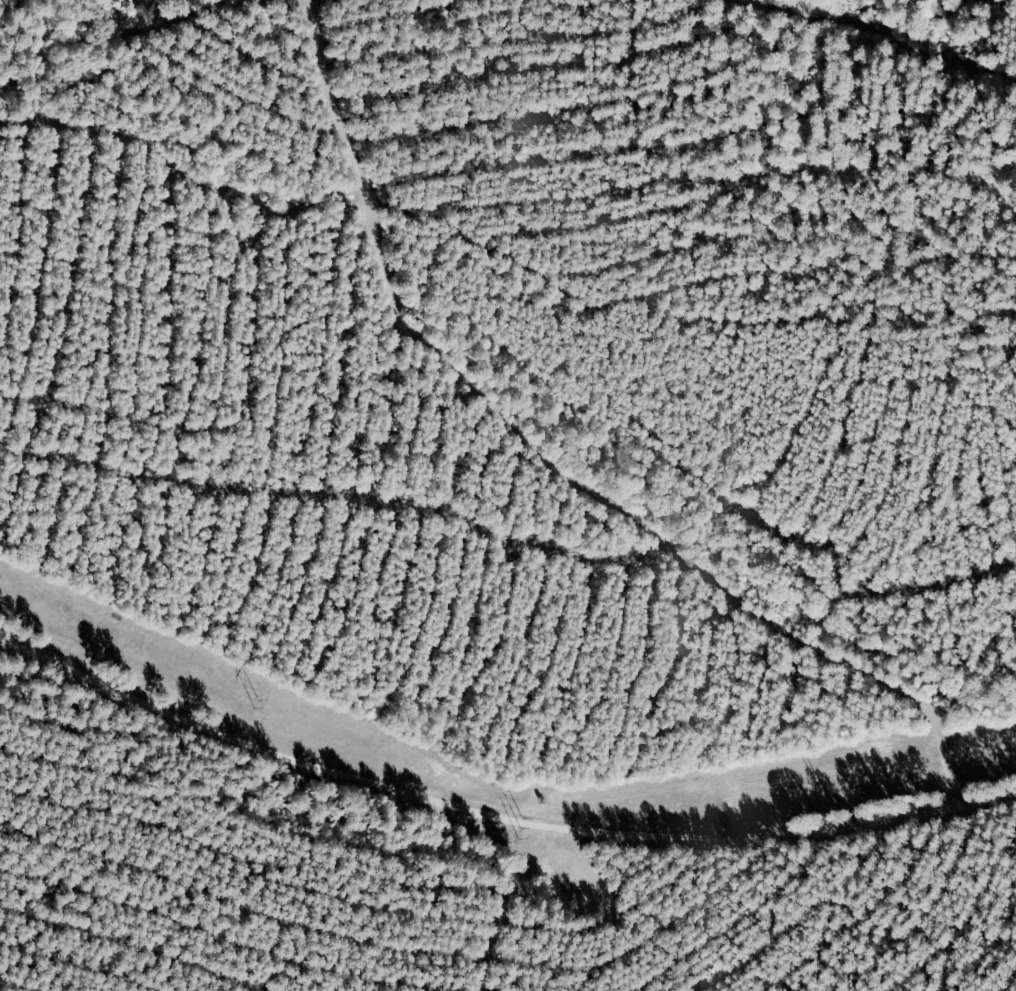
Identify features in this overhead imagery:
power tower: (256, 704)
road: (496, 772)
power tower: (815, 780)
power tower: (521, 825)

